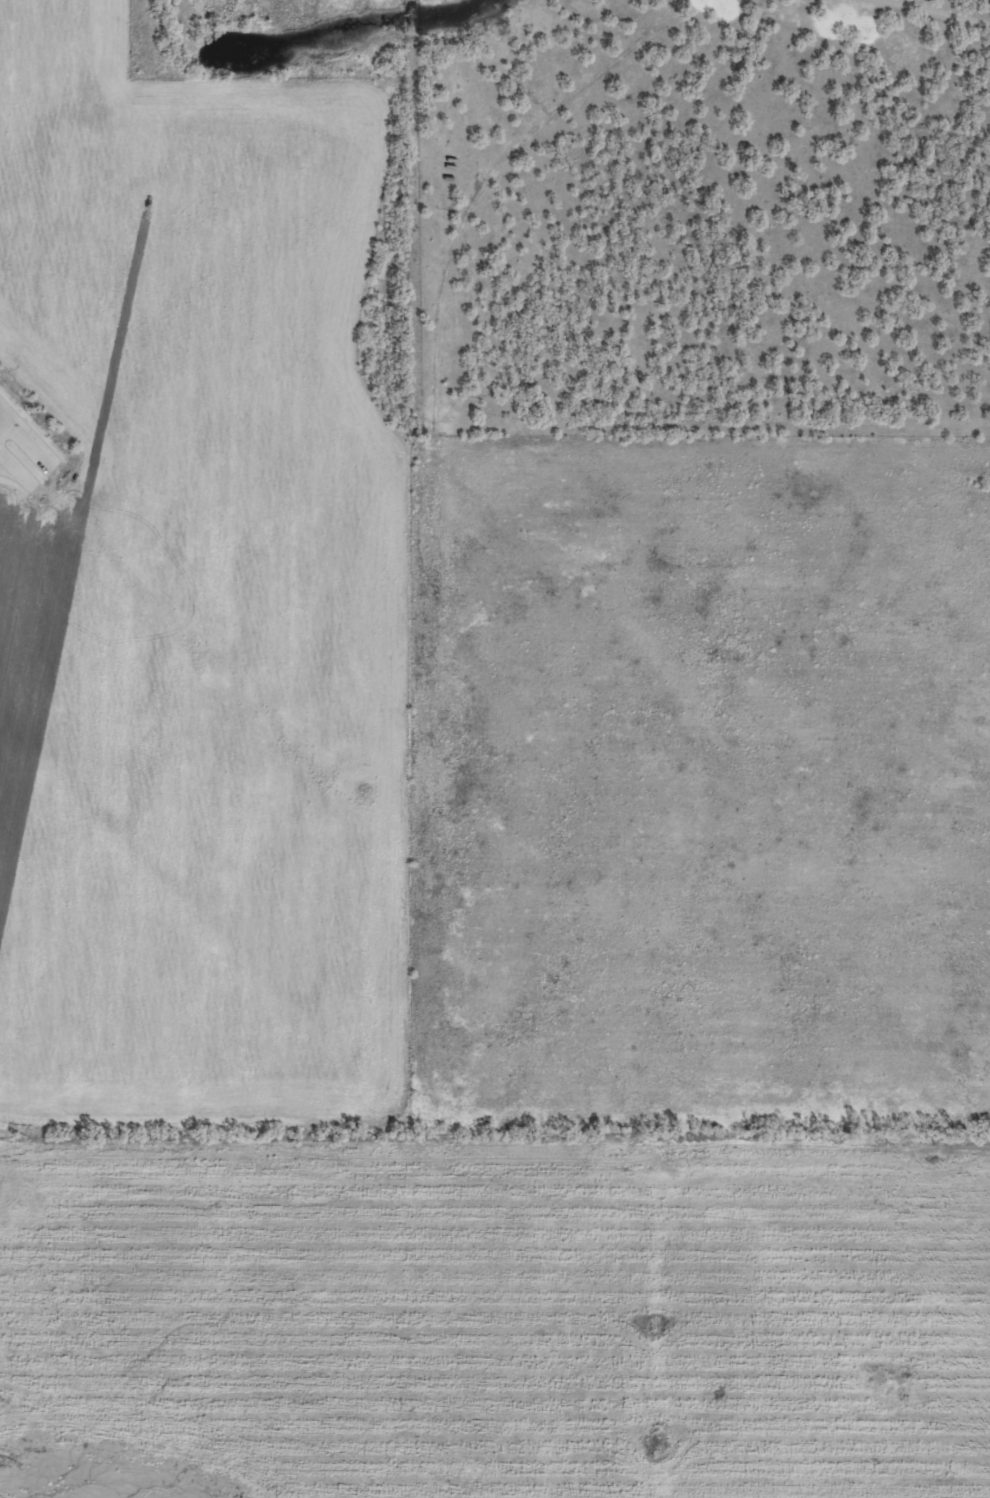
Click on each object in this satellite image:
road: (926, 12)
road: (2, 409)
road: (2, 414)
road: (38, 446)
road: (15, 474)
road: (25, 474)

